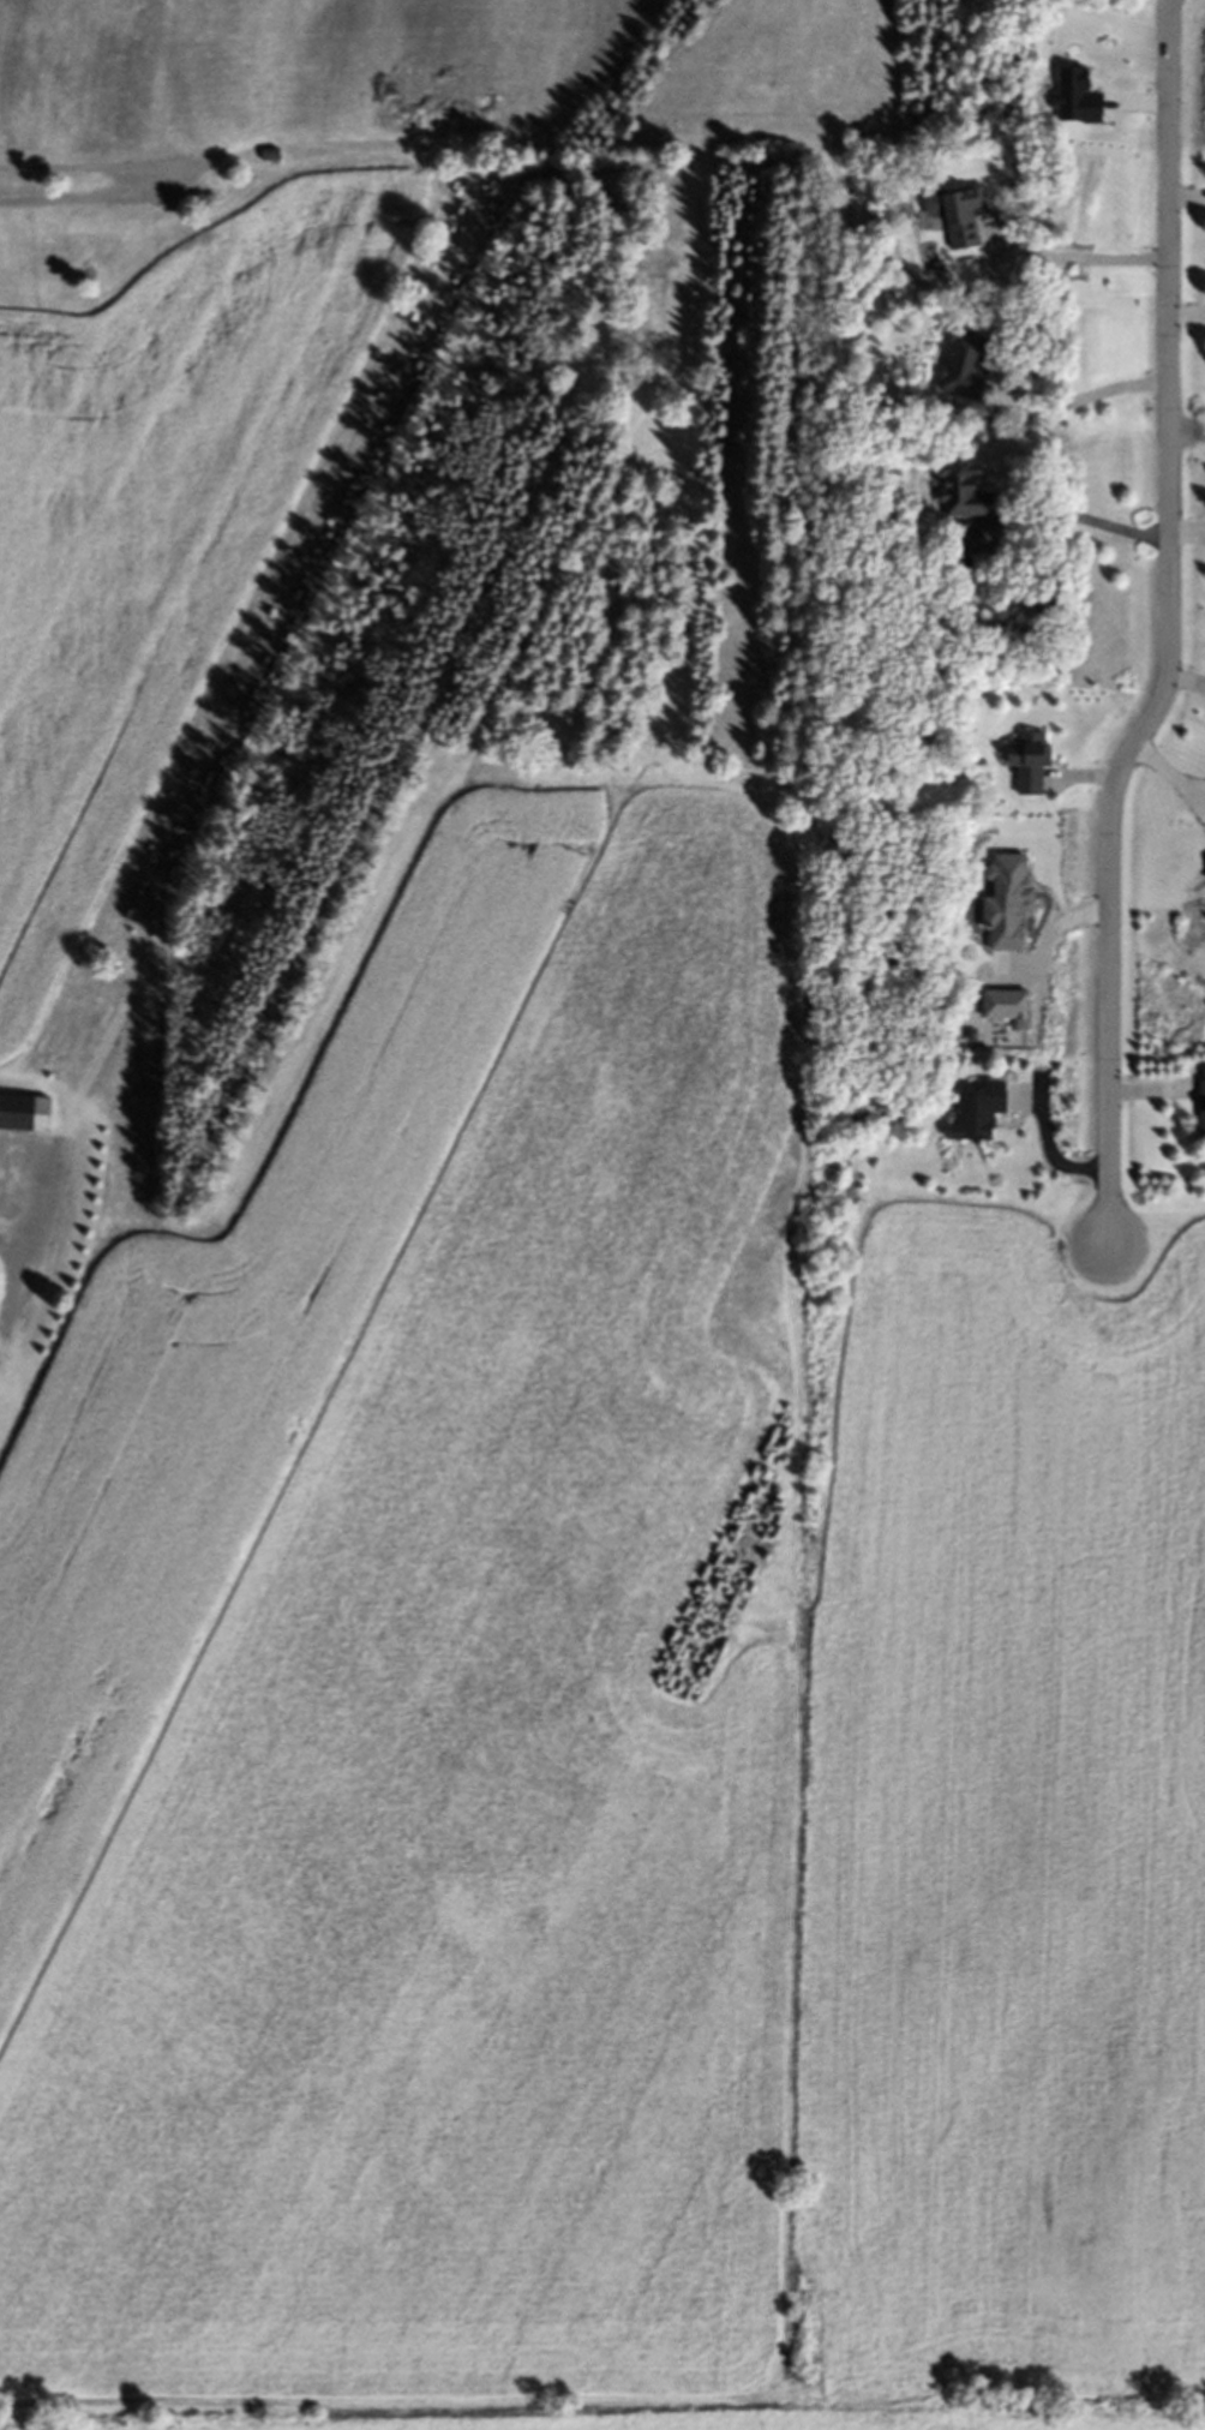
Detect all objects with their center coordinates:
building: (270, 158)
road: (100, 181)
building: (949, 217)
road: (1061, 257)
building: (961, 370)
road: (1077, 399)
building: (960, 493)
road: (1091, 525)
building: (961, 543)
road: (1169, 629)
building: (1201, 1106)
building: (976, 1113)
building: (24, 1117)
road: (4, 1235)

